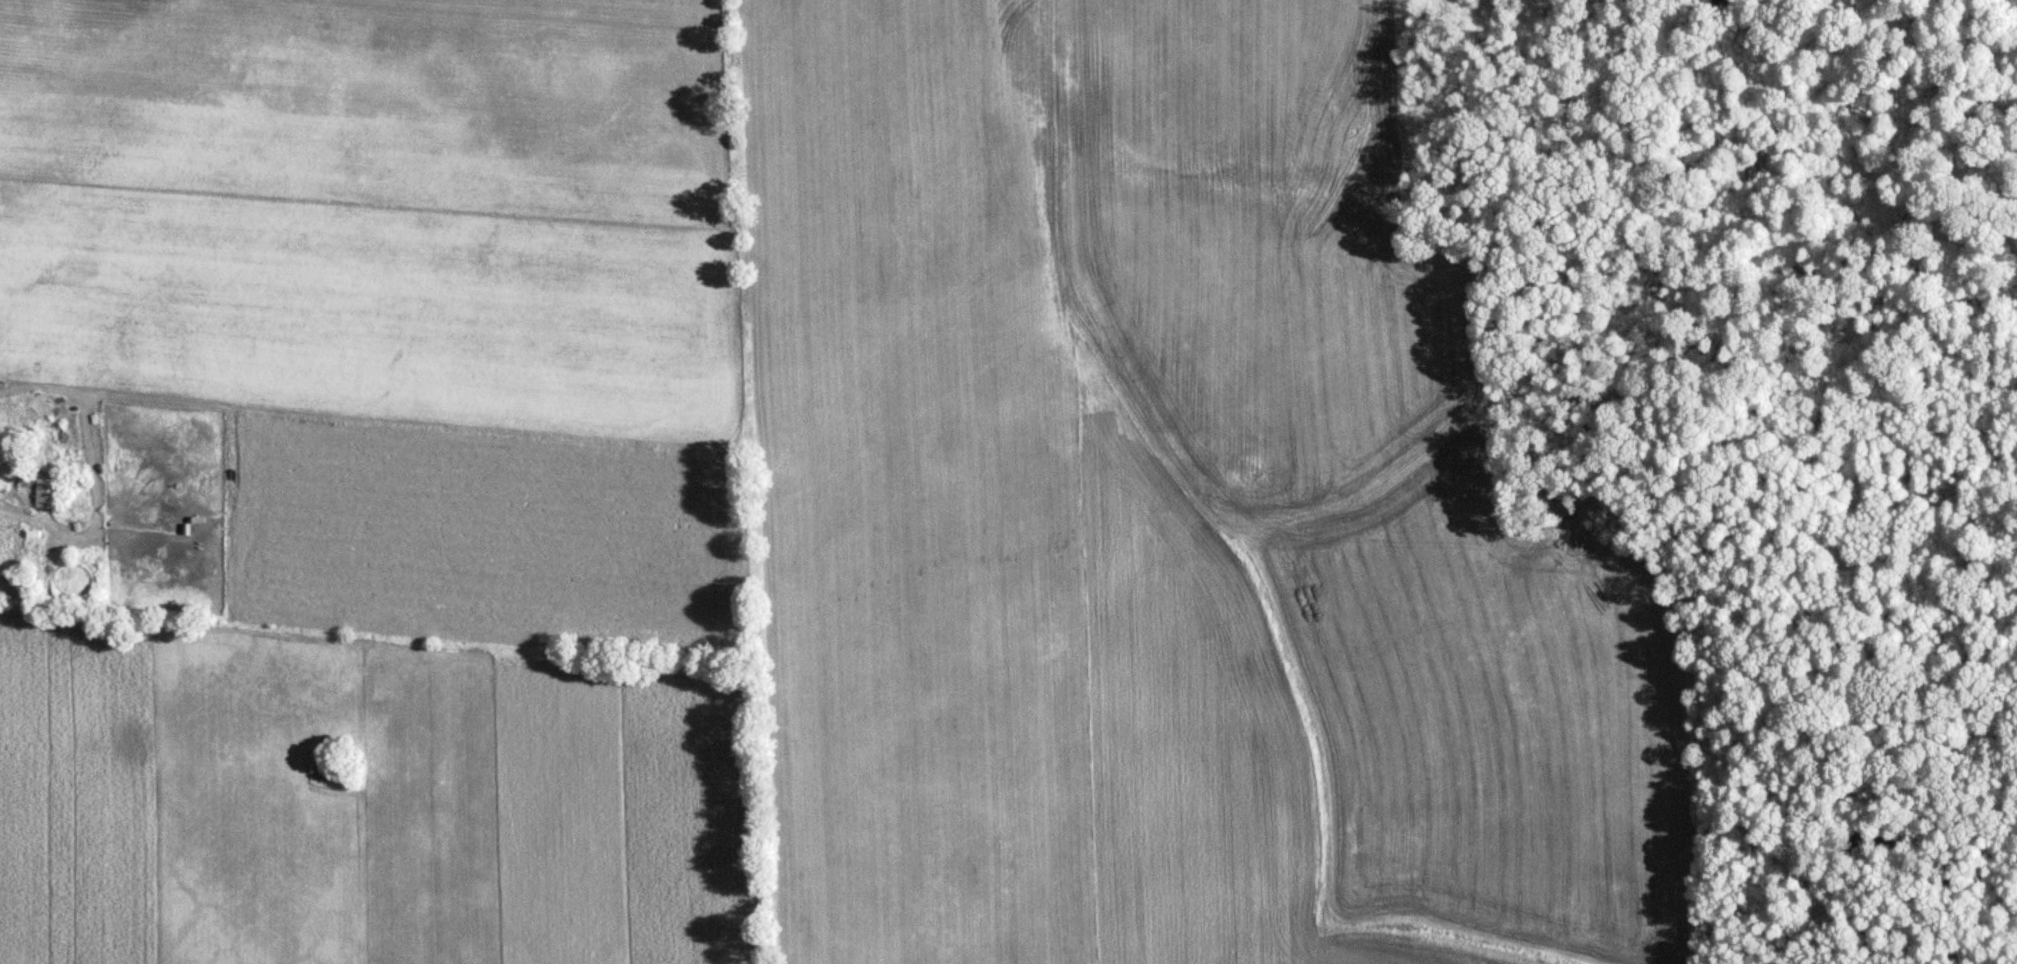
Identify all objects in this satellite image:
building: (46, 494)

